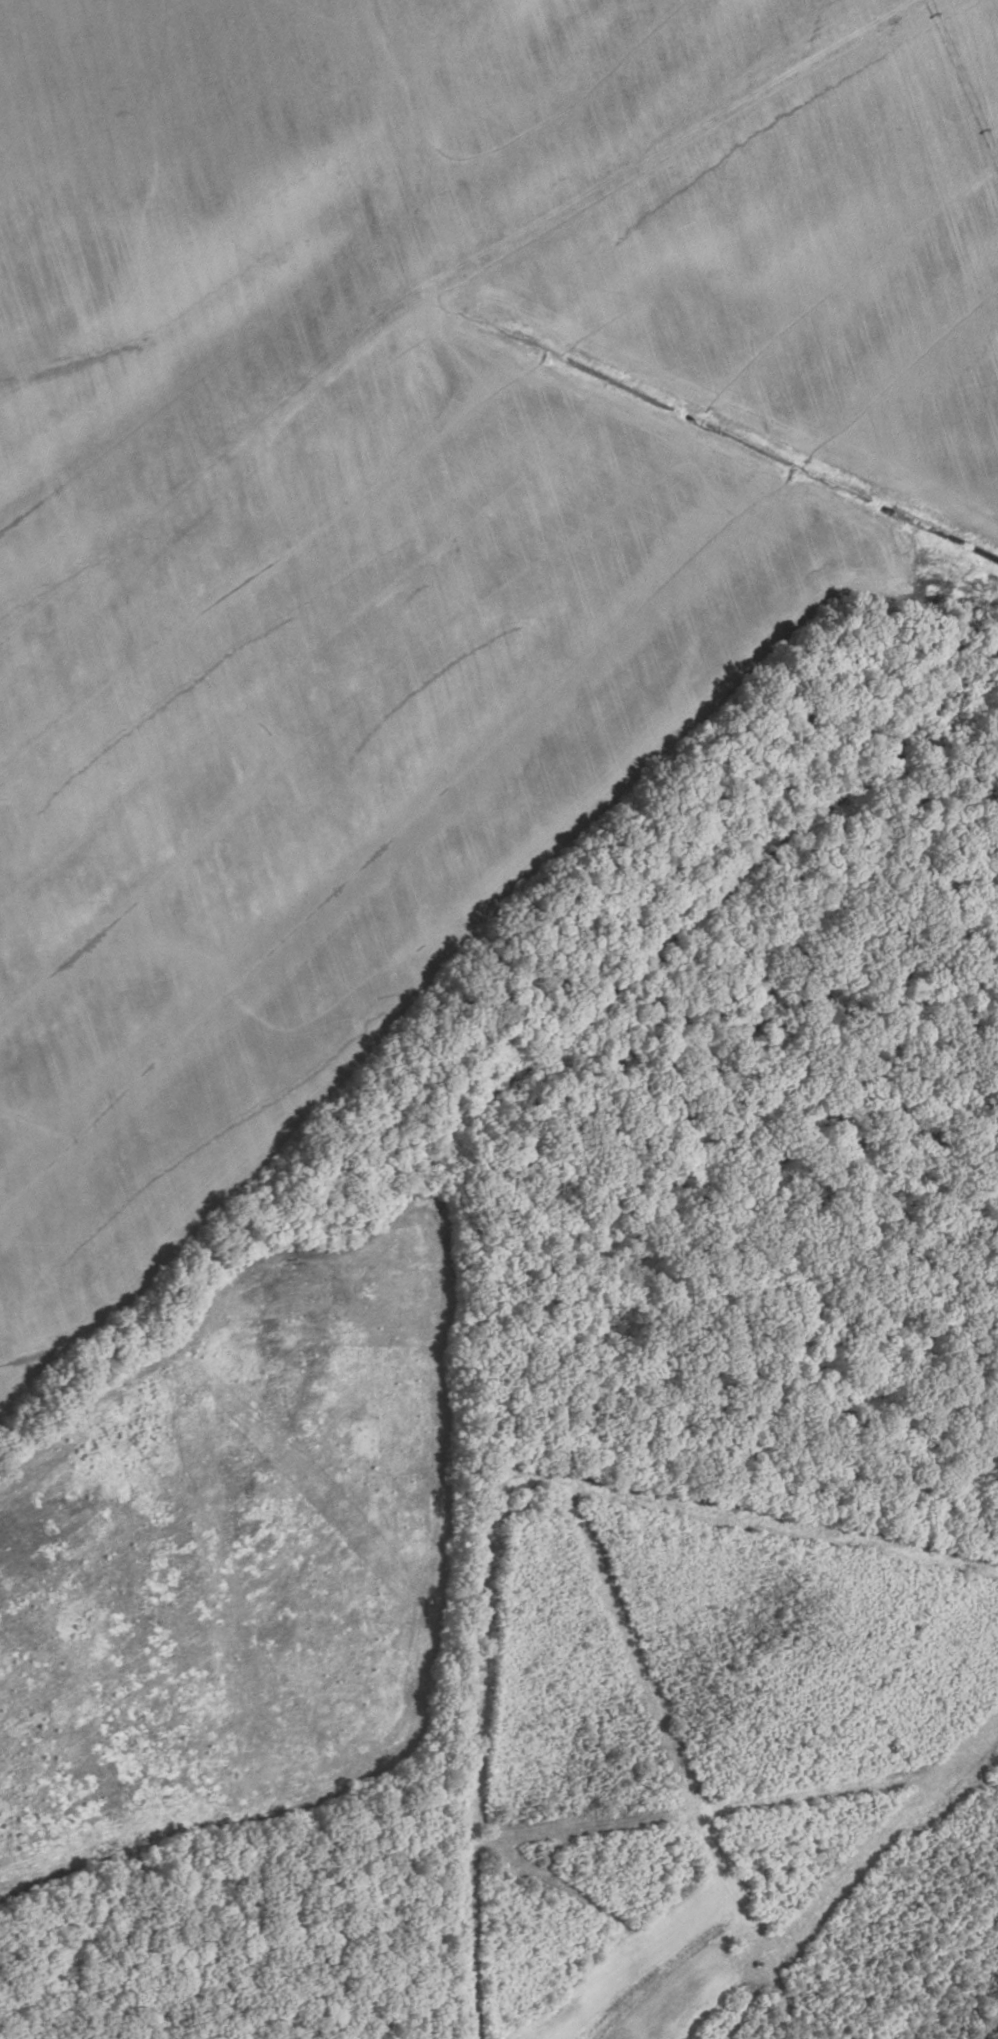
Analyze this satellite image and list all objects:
road: (682, 138)

